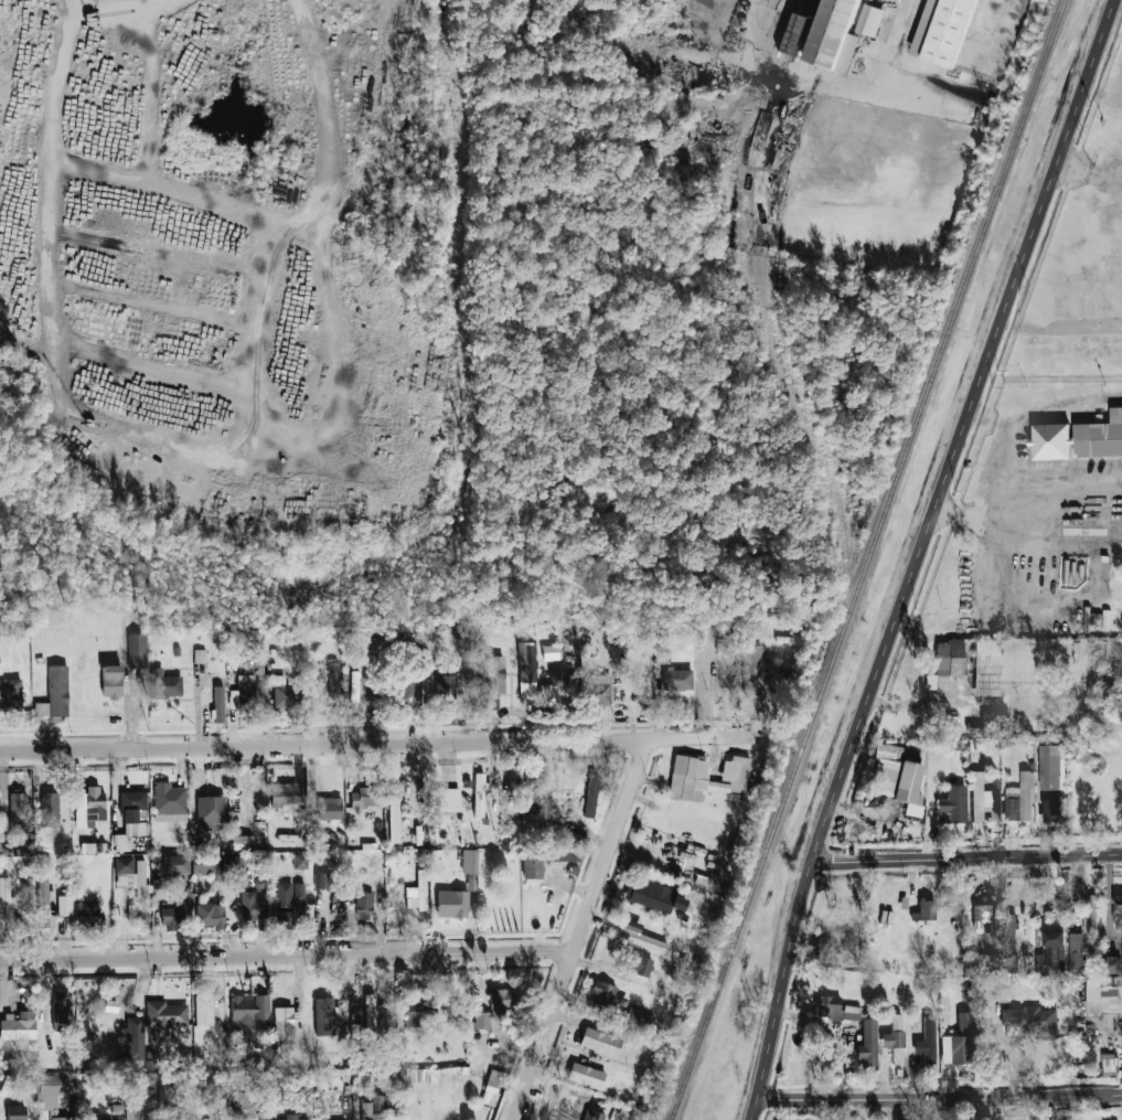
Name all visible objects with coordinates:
road: (130, 7)
building: (869, 20)
building: (798, 30)
building: (943, 31)
building: (834, 35)
railway: (749, 202)
railway: (782, 346)
building: (1100, 437)
building: (1050, 441)
road: (1007, 472)
road: (1026, 515)
road: (917, 555)
railway: (869, 559)
building: (427, 641)
building: (137, 650)
building: (551, 652)
building: (662, 654)
building: (200, 655)
building: (949, 658)
building: (986, 668)
building: (527, 670)
building: (754, 670)
building: (677, 680)
building: (111, 681)
building: (333, 681)
building: (491, 681)
building: (164, 684)
building: (446, 689)
building: (408, 690)
building: (598, 691)
building: (282, 693)
building: (10, 694)
building: (244, 694)
building: (55, 695)
building: (549, 695)
building: (214, 706)
building: (995, 719)
road: (376, 745)
building: (1049, 767)
building: (705, 777)
building: (896, 778)
building: (285, 793)
building: (478, 794)
building: (530, 794)
building: (591, 796)
building: (365, 798)
building: (982, 798)
building: (1019, 800)
building: (169, 803)
building: (952, 804)
building: (89, 807)
building: (18, 808)
building: (329, 808)
building: (50, 809)
road: (857, 809)
building: (1051, 810)
building: (210, 811)
building: (234, 817)
building: (393, 819)
building: (130, 820)
building: (573, 839)
building: (242, 843)
building: (93, 847)
road: (966, 860)
building: (300, 861)
building: (175, 864)
building: (207, 864)
building: (470, 867)
building: (131, 873)
building: (234, 873)
building: (321, 881)
building: (260, 883)
building: (418, 892)
building: (289, 895)
building: (653, 896)
building: (844, 900)
building: (6, 903)
building: (42, 903)
building: (452, 904)
building: (364, 905)
building: (64, 906)
building: (253, 907)
building: (927, 909)
building: (88, 910)
building: (1118, 914)
building: (210, 915)
building: (171, 917)
building: (284, 919)
building: (1009, 927)
road: (579, 930)
building: (639, 937)
building: (1051, 953)
building: (1076, 953)
road: (285, 959)
building: (641, 964)
building: (1111, 964)
building: (1103, 994)
building: (606, 995)
building: (495, 1006)
building: (204, 1007)
building: (836, 1010)
building: (61, 1011)
building: (418, 1011)
building: (248, 1012)
building: (165, 1014)
building: (370, 1014)
building: (323, 1016)
building: (639, 1017)
building: (1032, 1021)
building: (284, 1023)
building: (18, 1025)
building: (983, 1028)
building: (135, 1039)
building: (895, 1039)
building: (927, 1039)
building: (600, 1042)
building: (958, 1042)
building: (867, 1044)
building: (1109, 1065)
building: (586, 1076)
building: (424, 1078)
building: (492, 1086)
building: (290, 1087)
building: (54, 1090)
building: (165, 1097)
road: (940, 1100)
building: (374, 1108)
building: (133, 1110)
building: (15, 1112)
building: (114, 1113)
building: (592, 1116)
building: (292, 1117)
building: (60, 1118)
building: (192, 1119)

